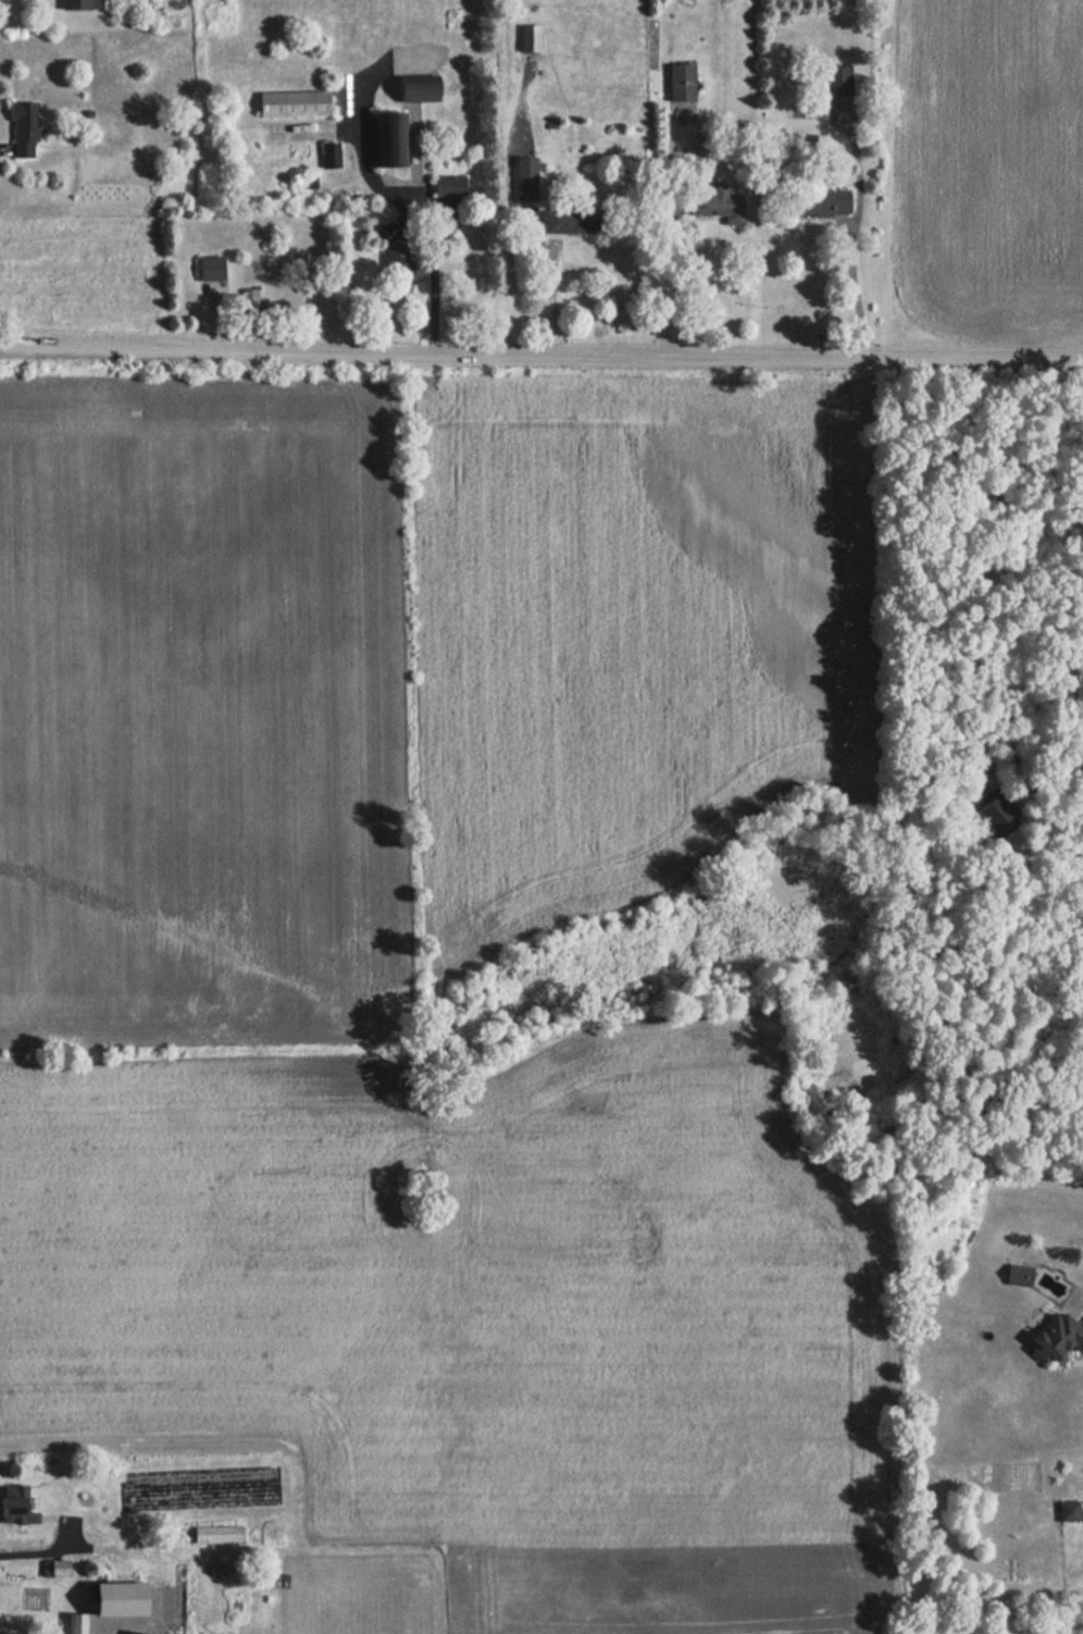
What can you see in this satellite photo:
building: (74, 4)
building: (836, 81)
building: (679, 82)
building: (414, 90)
building: (290, 103)
building: (21, 129)
building: (387, 138)
building: (523, 182)
building: (819, 201)
building: (717, 202)
road: (427, 212)
road: (668, 239)
building: (207, 268)
road: (852, 288)
road: (552, 297)
road: (541, 355)
road: (1054, 690)
crop: (201, 710)
building: (999, 808)
building: (1058, 1336)
road: (120, 1549)
building: (110, 1600)

